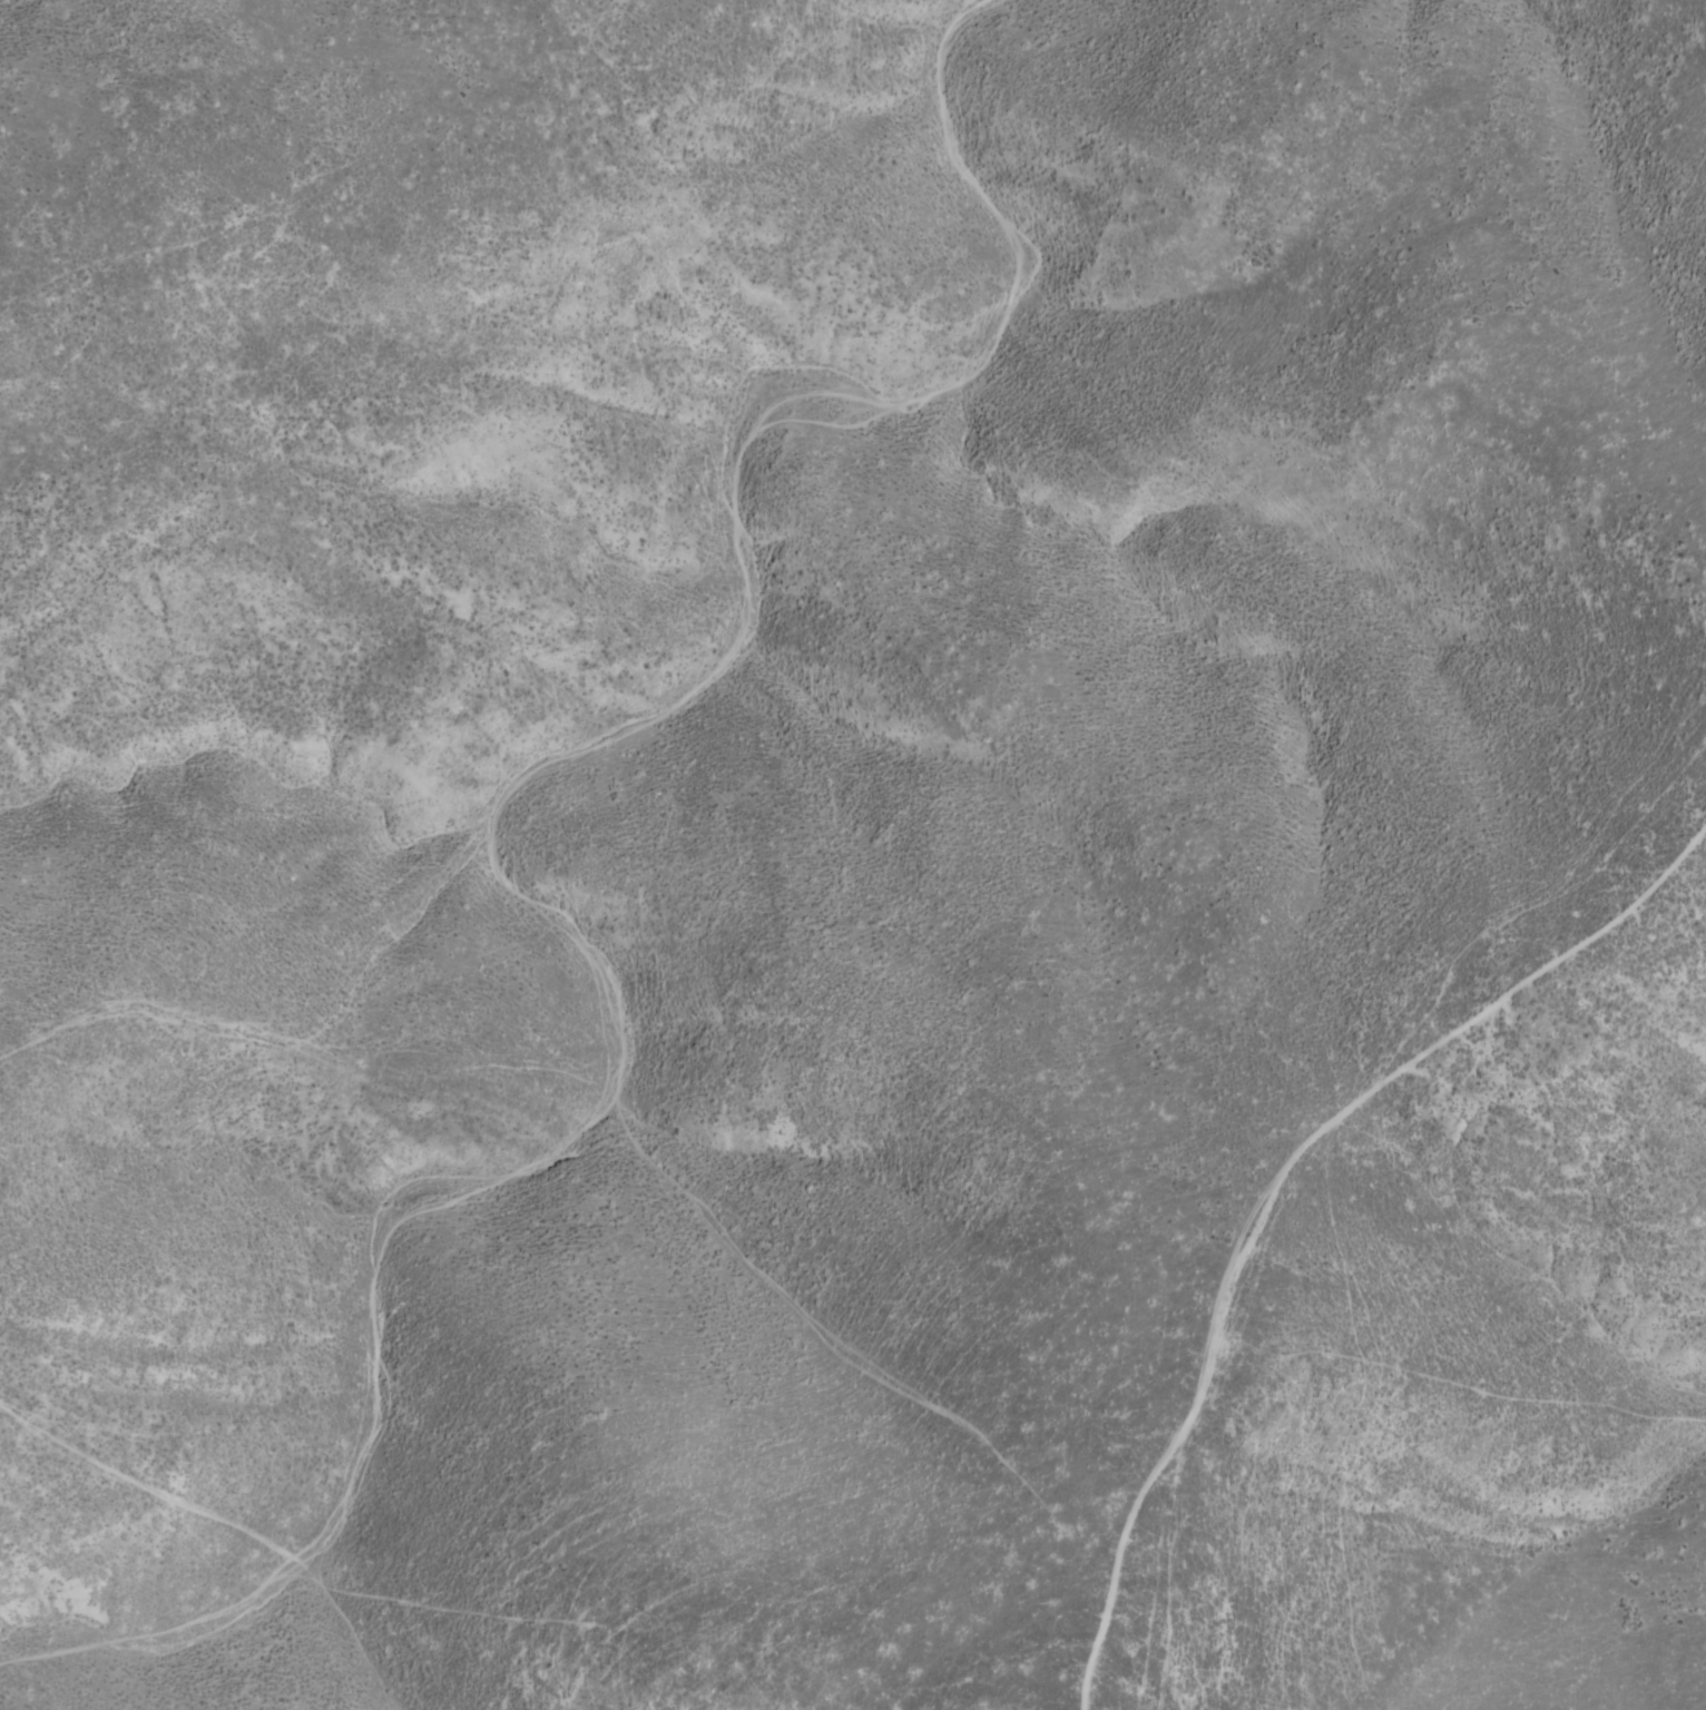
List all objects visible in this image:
road: (1278, 1191)

